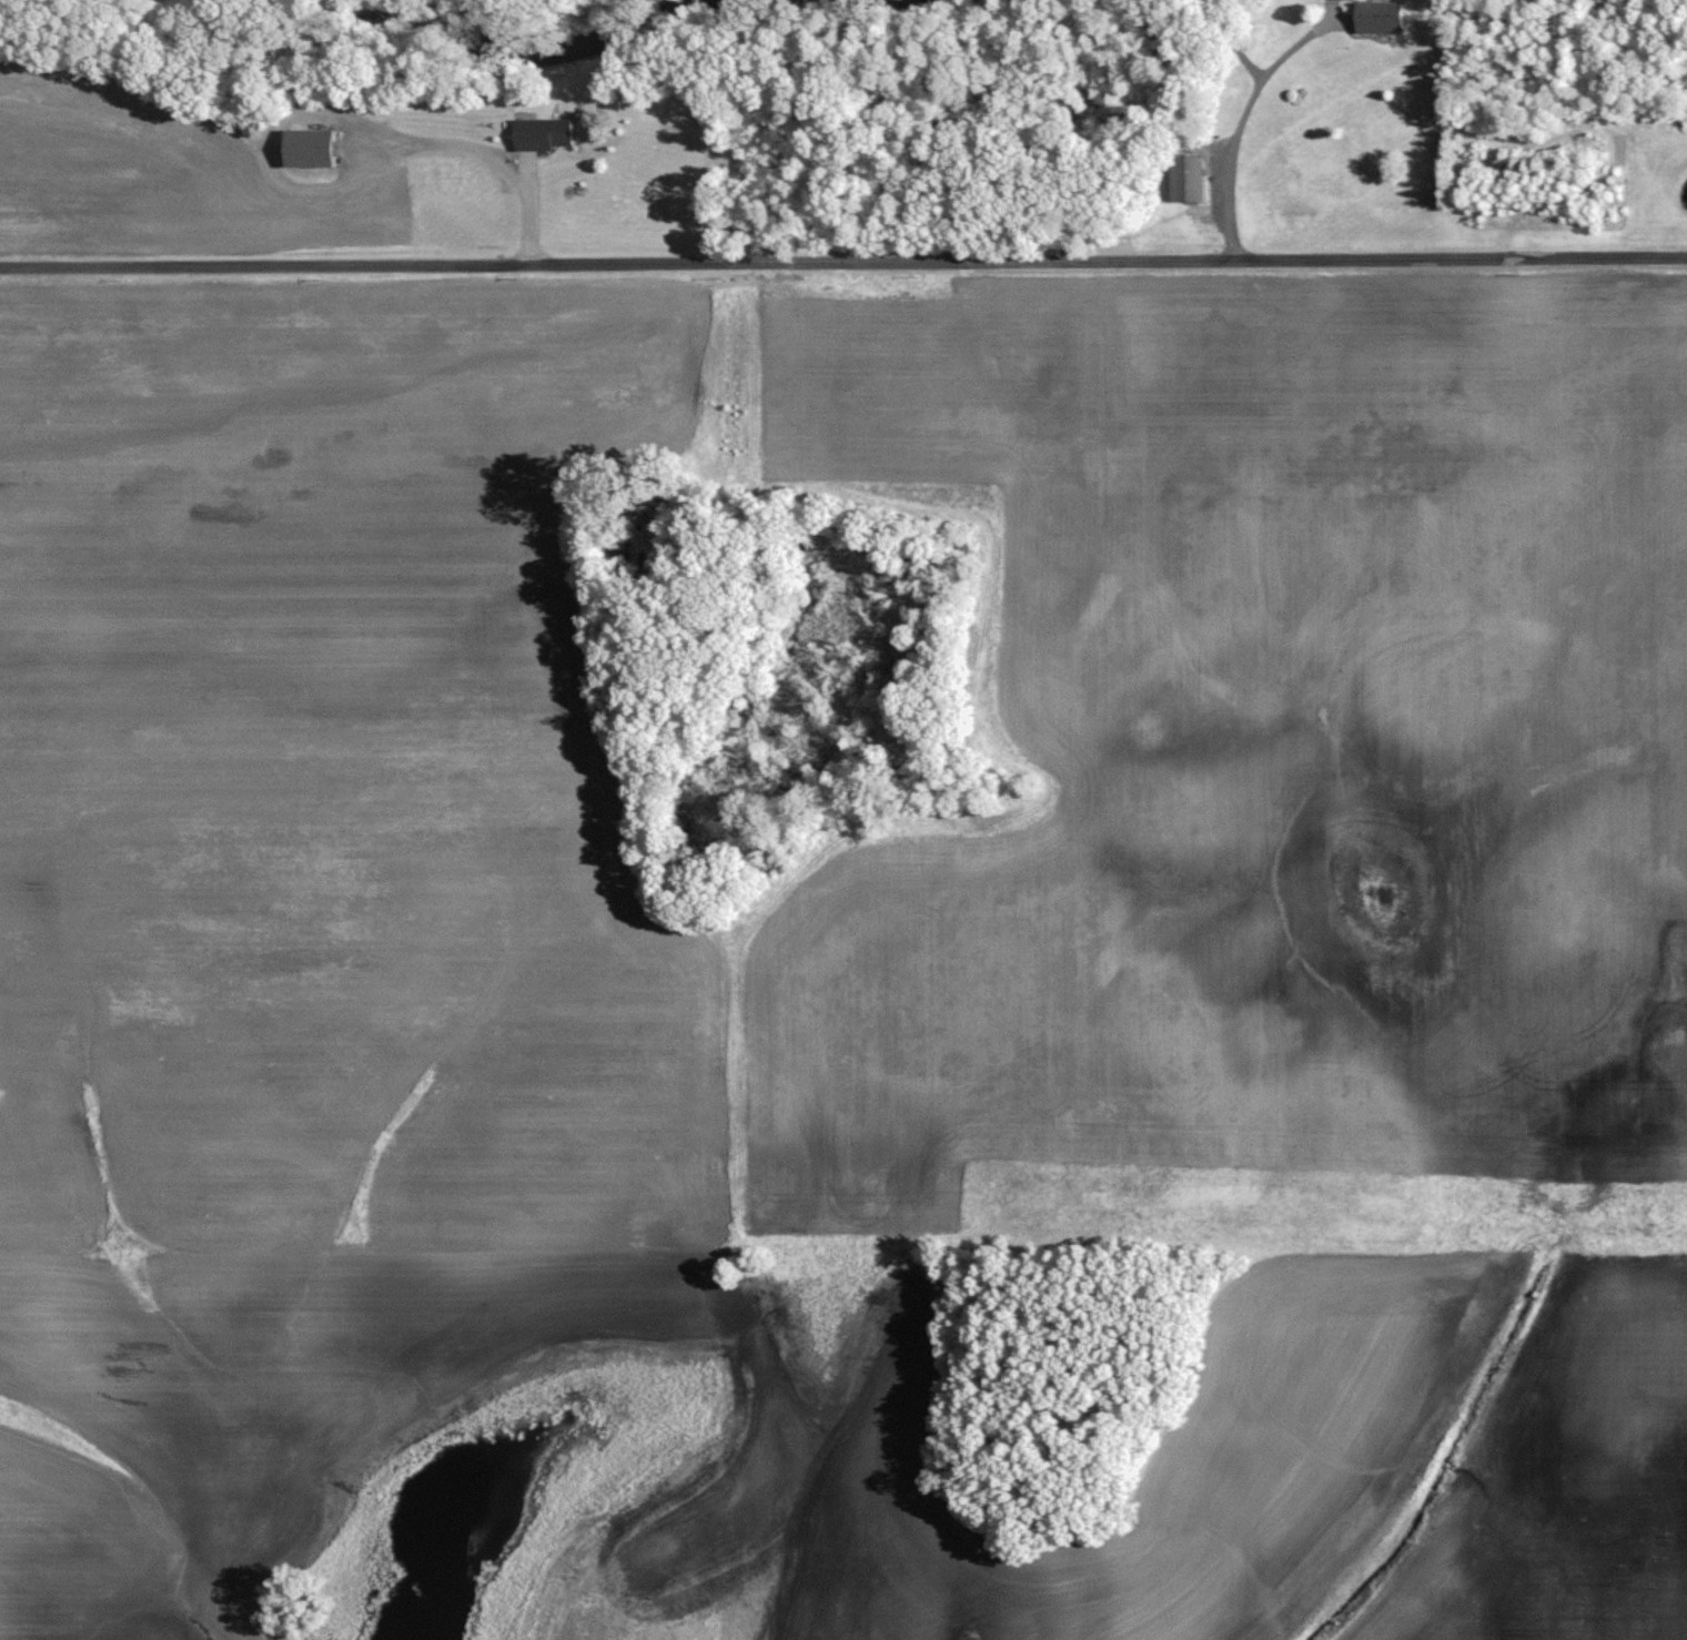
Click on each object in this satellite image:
road: (1241, 121)
building: (305, 145)
road: (482, 160)
crop: (165, 168)
road: (842, 263)
crop: (1291, 837)
crop: (310, 930)
crop: (1293, 1400)

